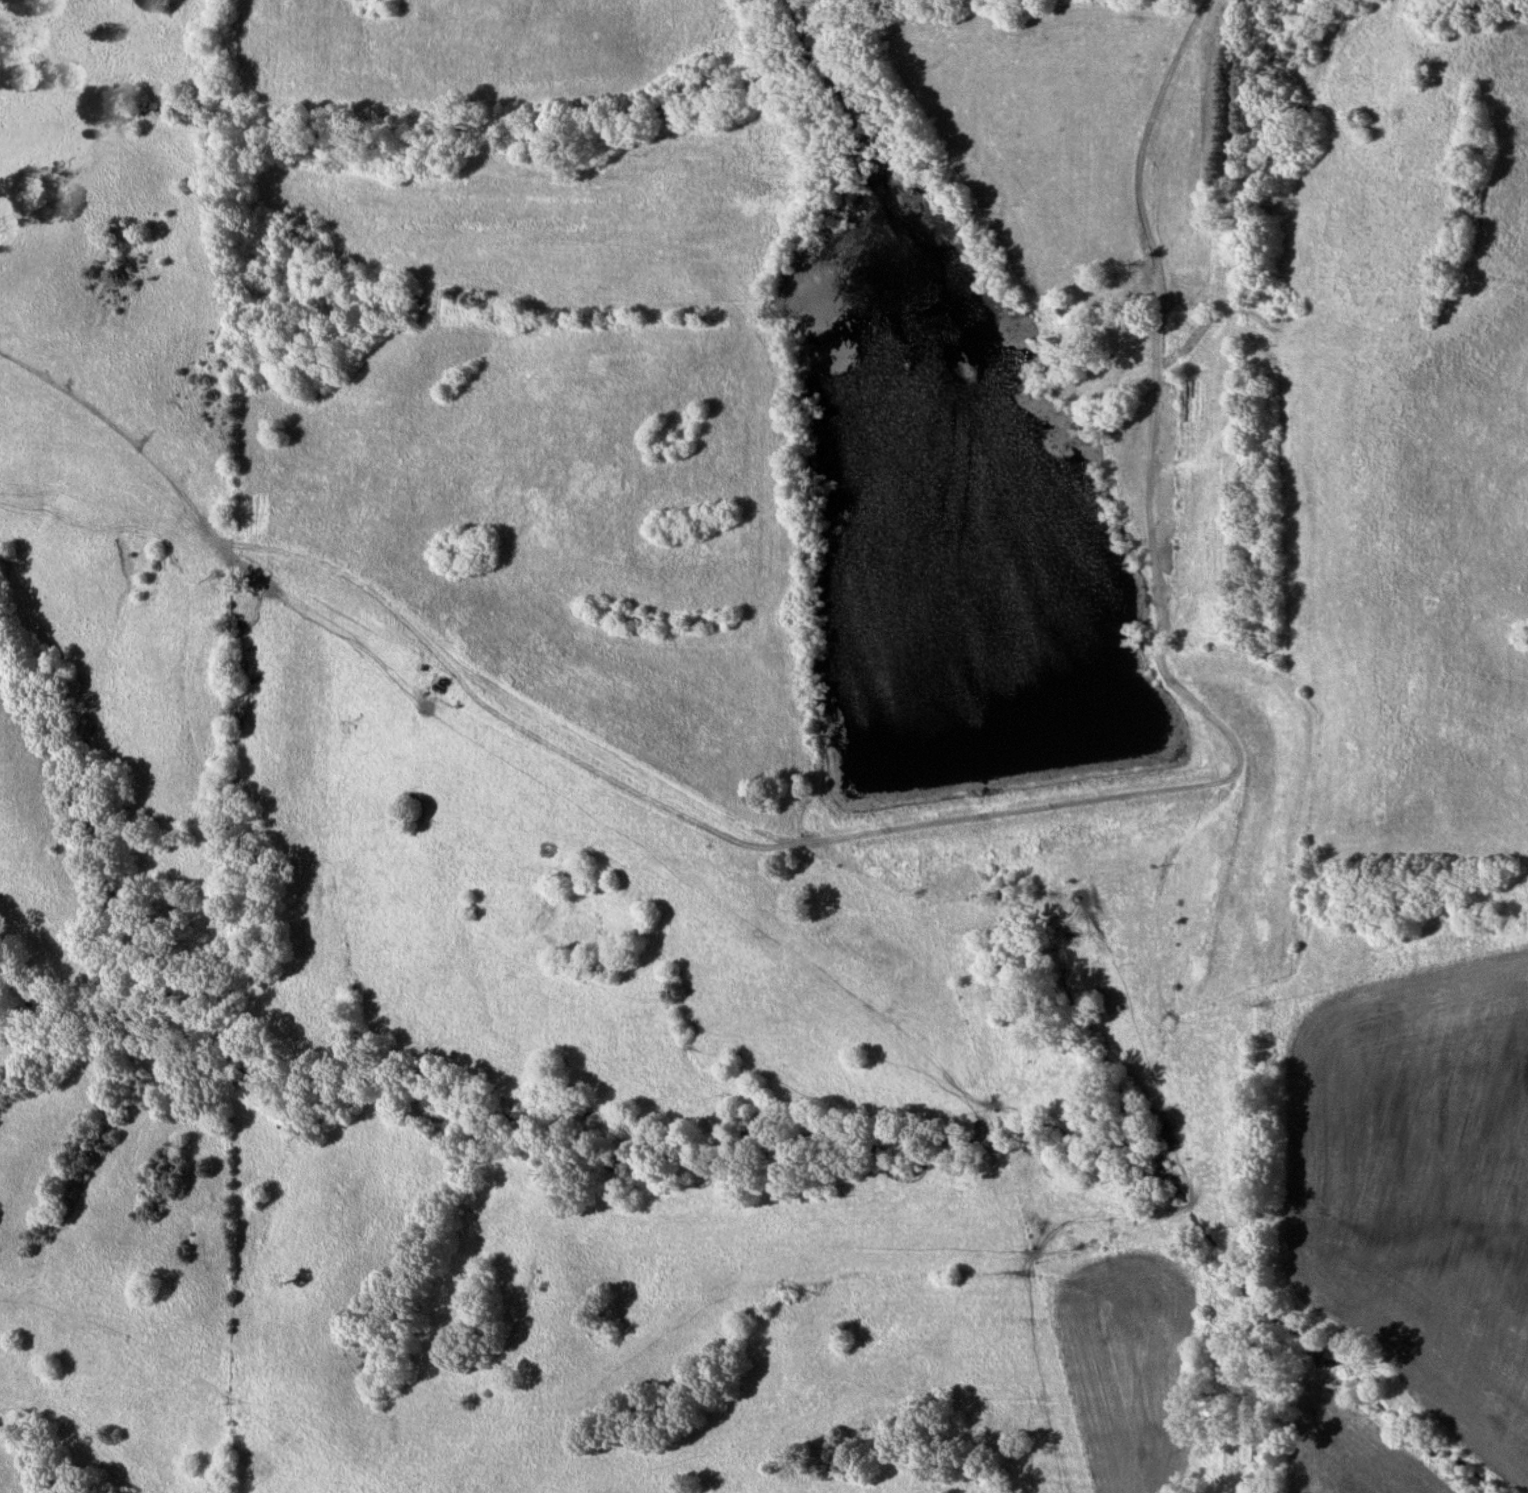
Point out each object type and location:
road: (955, 831)

